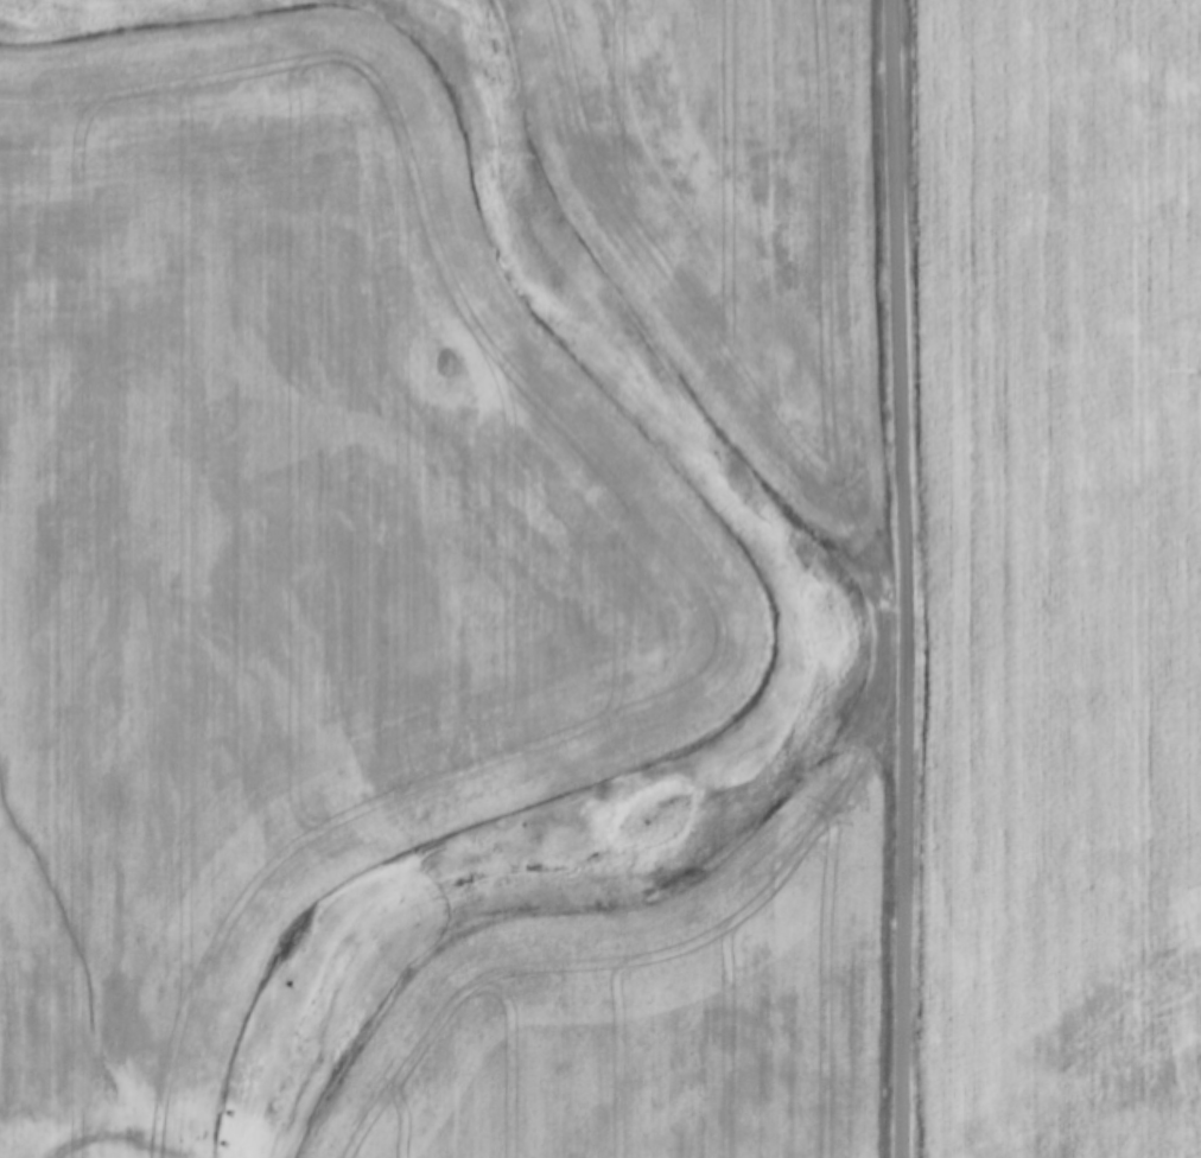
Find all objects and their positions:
road: (902, 578)

